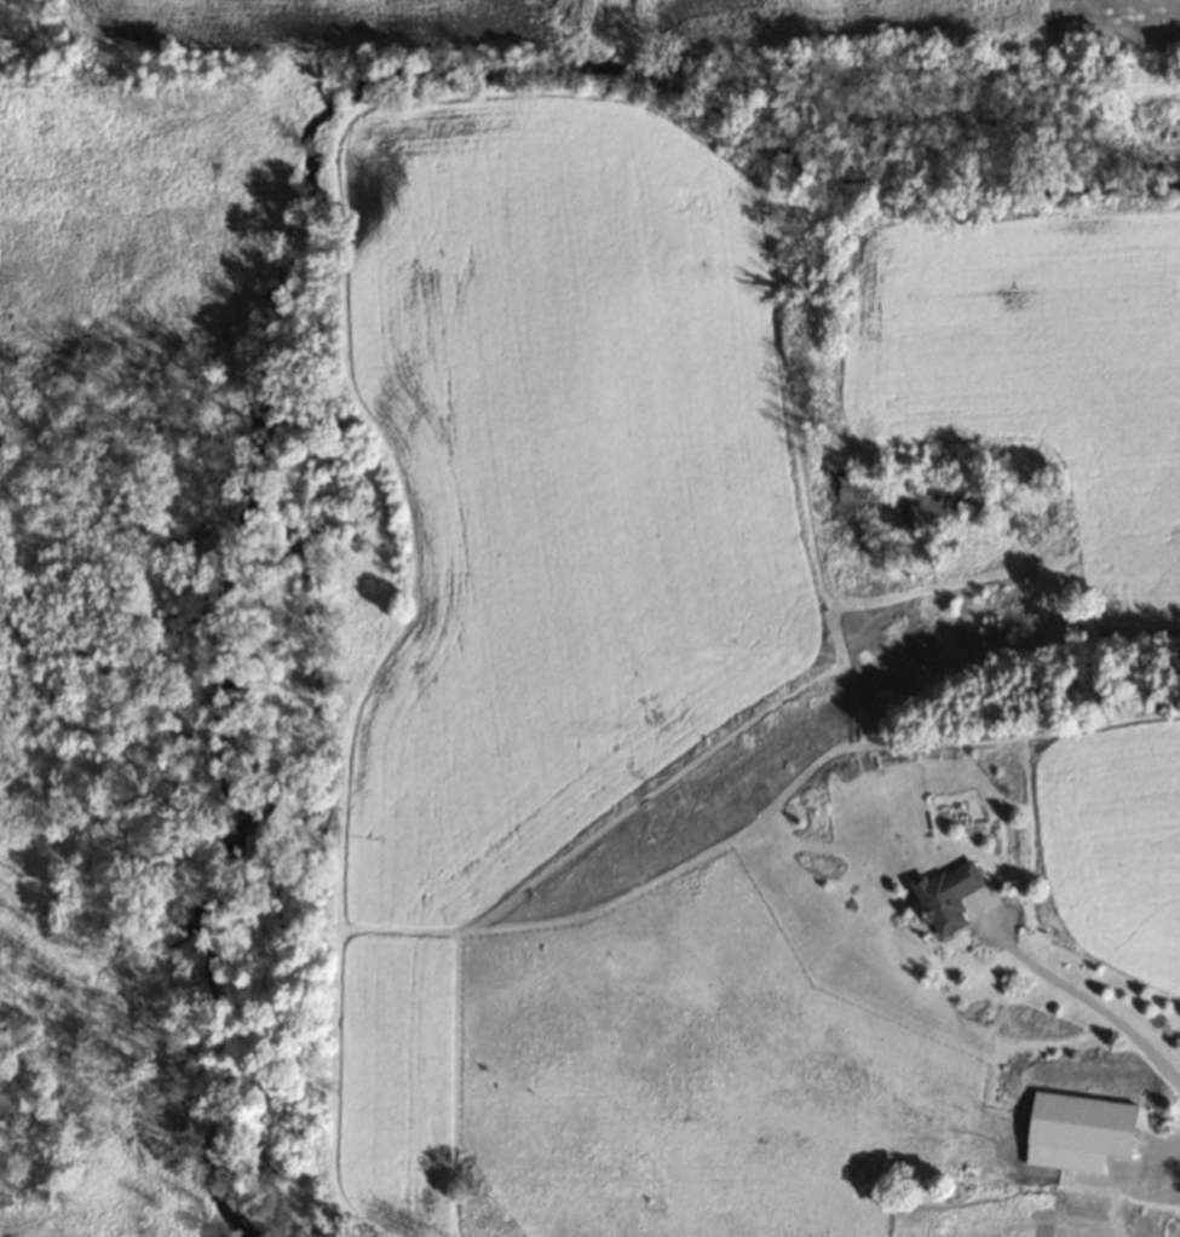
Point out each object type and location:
building: (943, 894)
road: (1092, 995)
building: (1076, 1123)
building: (639, 1220)

